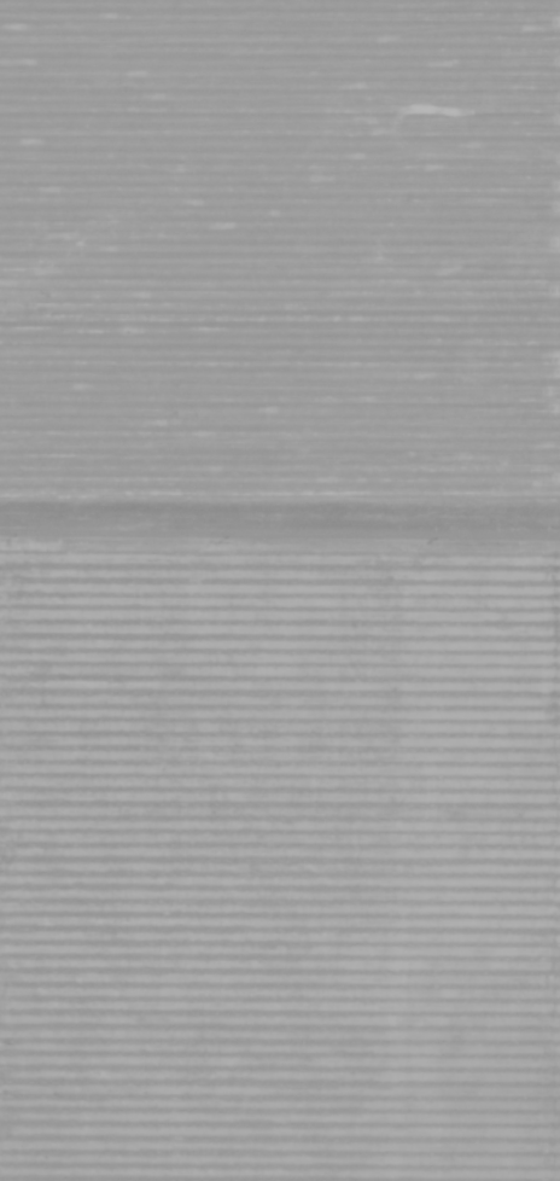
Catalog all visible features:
crop: (280, 590)

